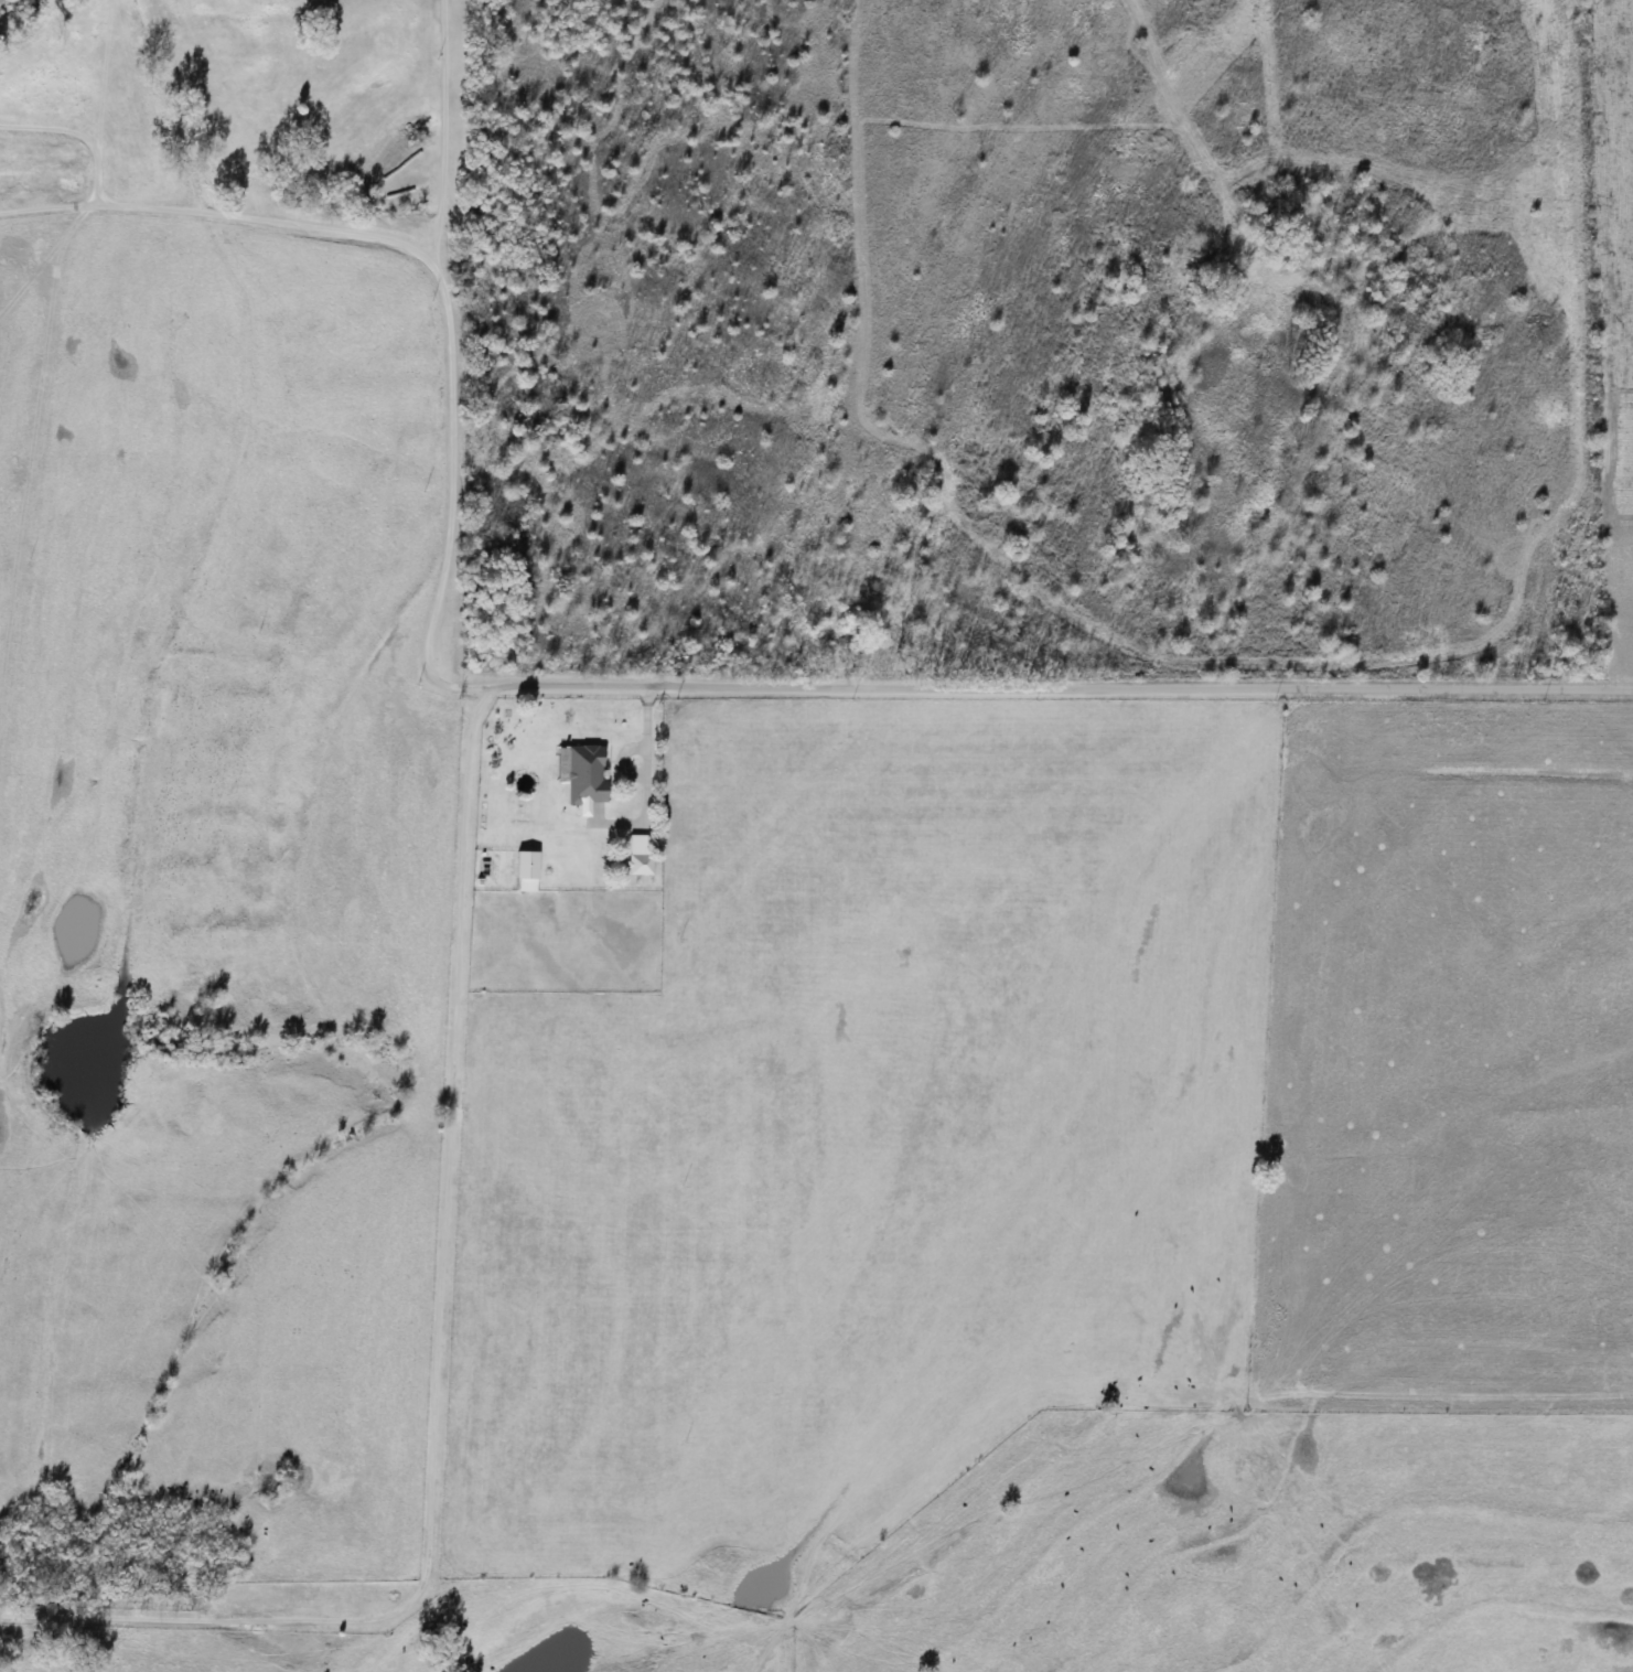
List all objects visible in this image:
road: (78, 137)
road: (425, 257)
road: (989, 692)
building: (579, 778)
road: (648, 785)
building: (636, 866)
building: (524, 873)
road: (439, 1359)

